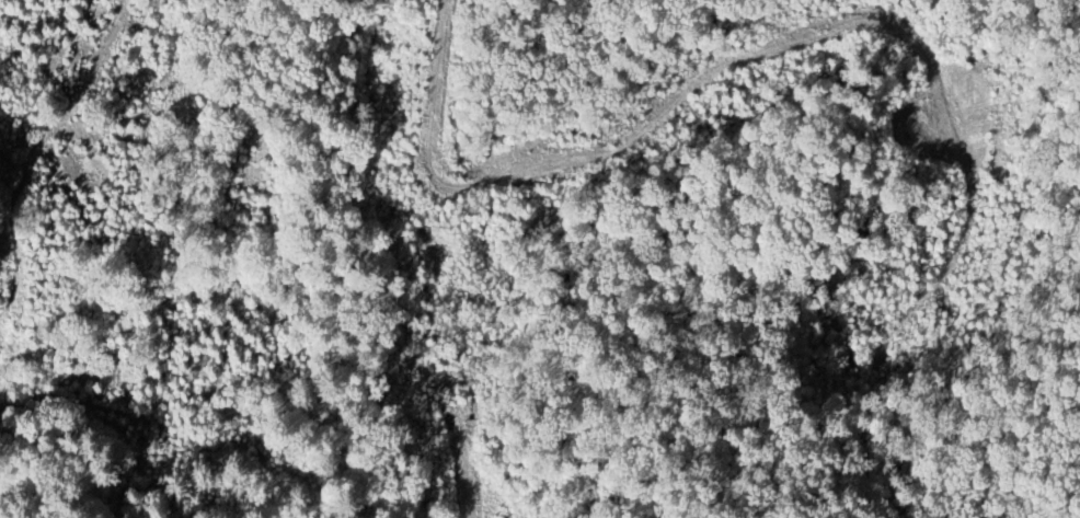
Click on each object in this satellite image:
road: (883, 27)
road: (445, 260)

